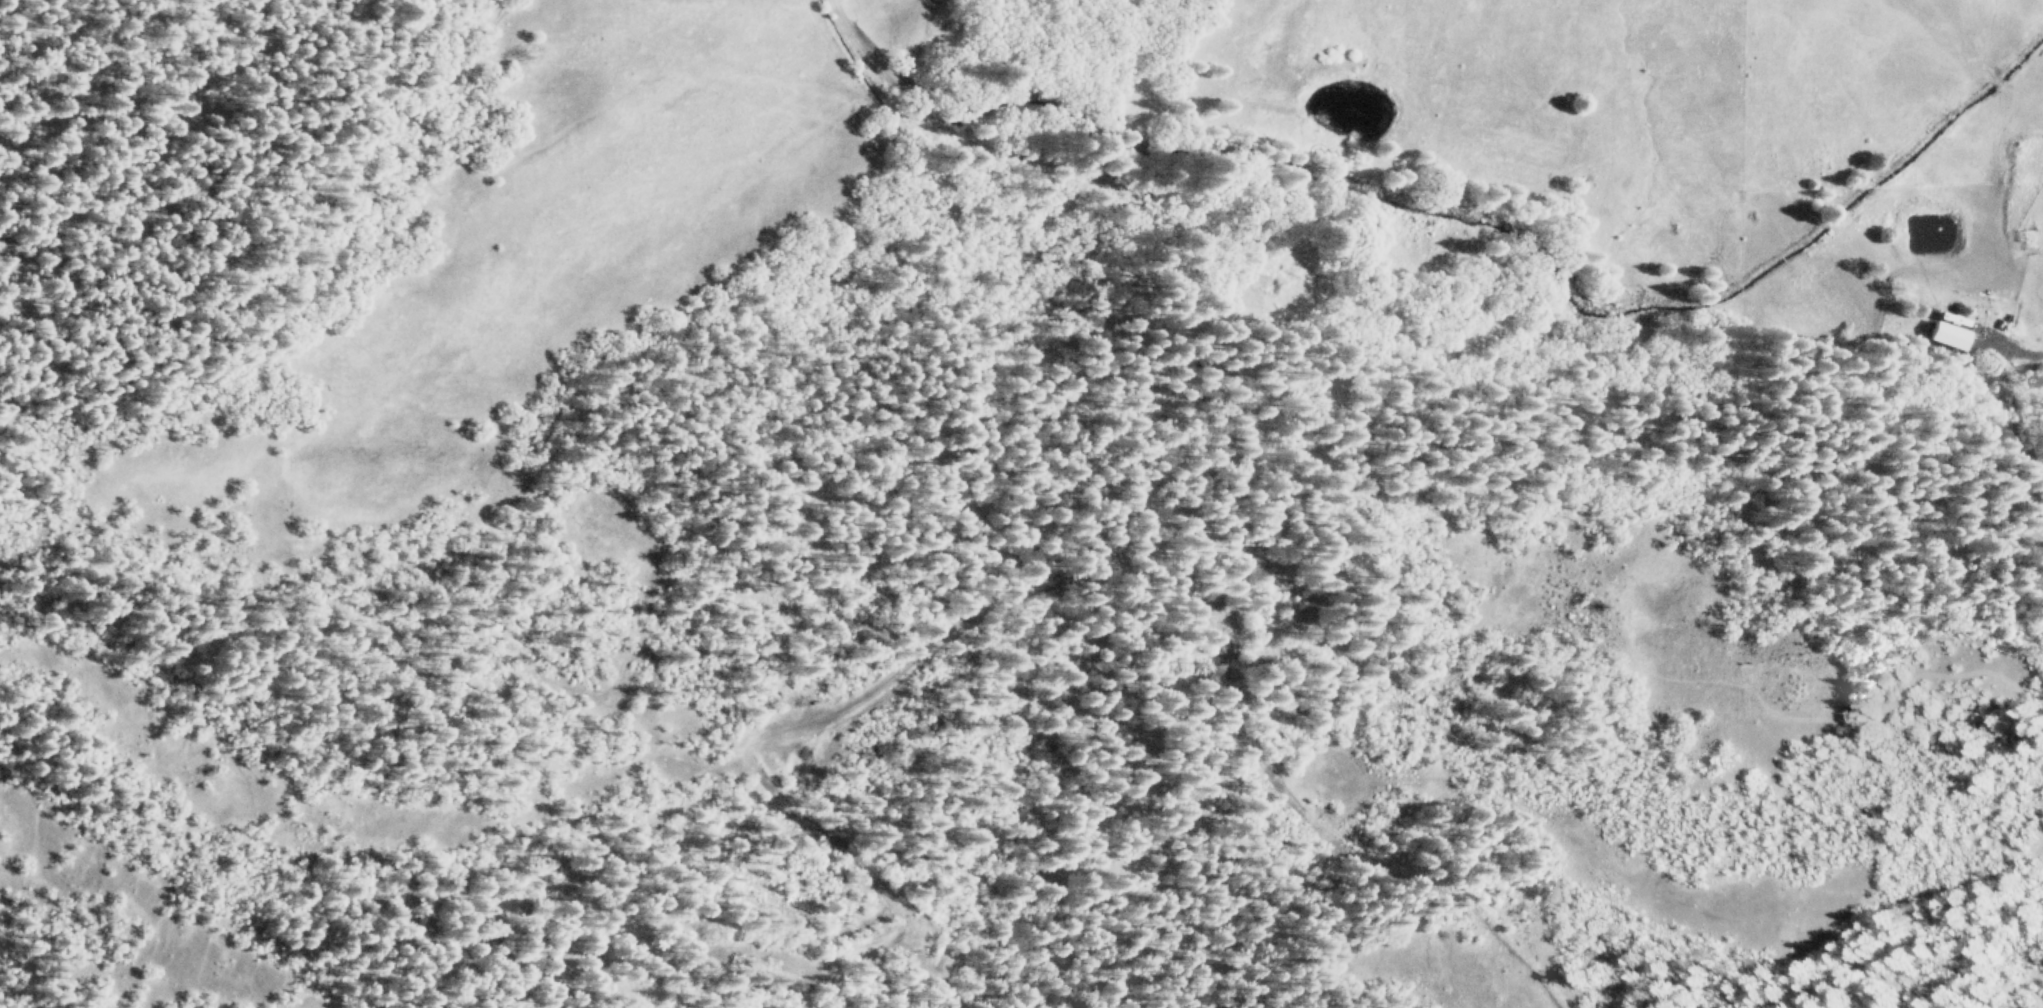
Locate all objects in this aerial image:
building: (1947, 334)

